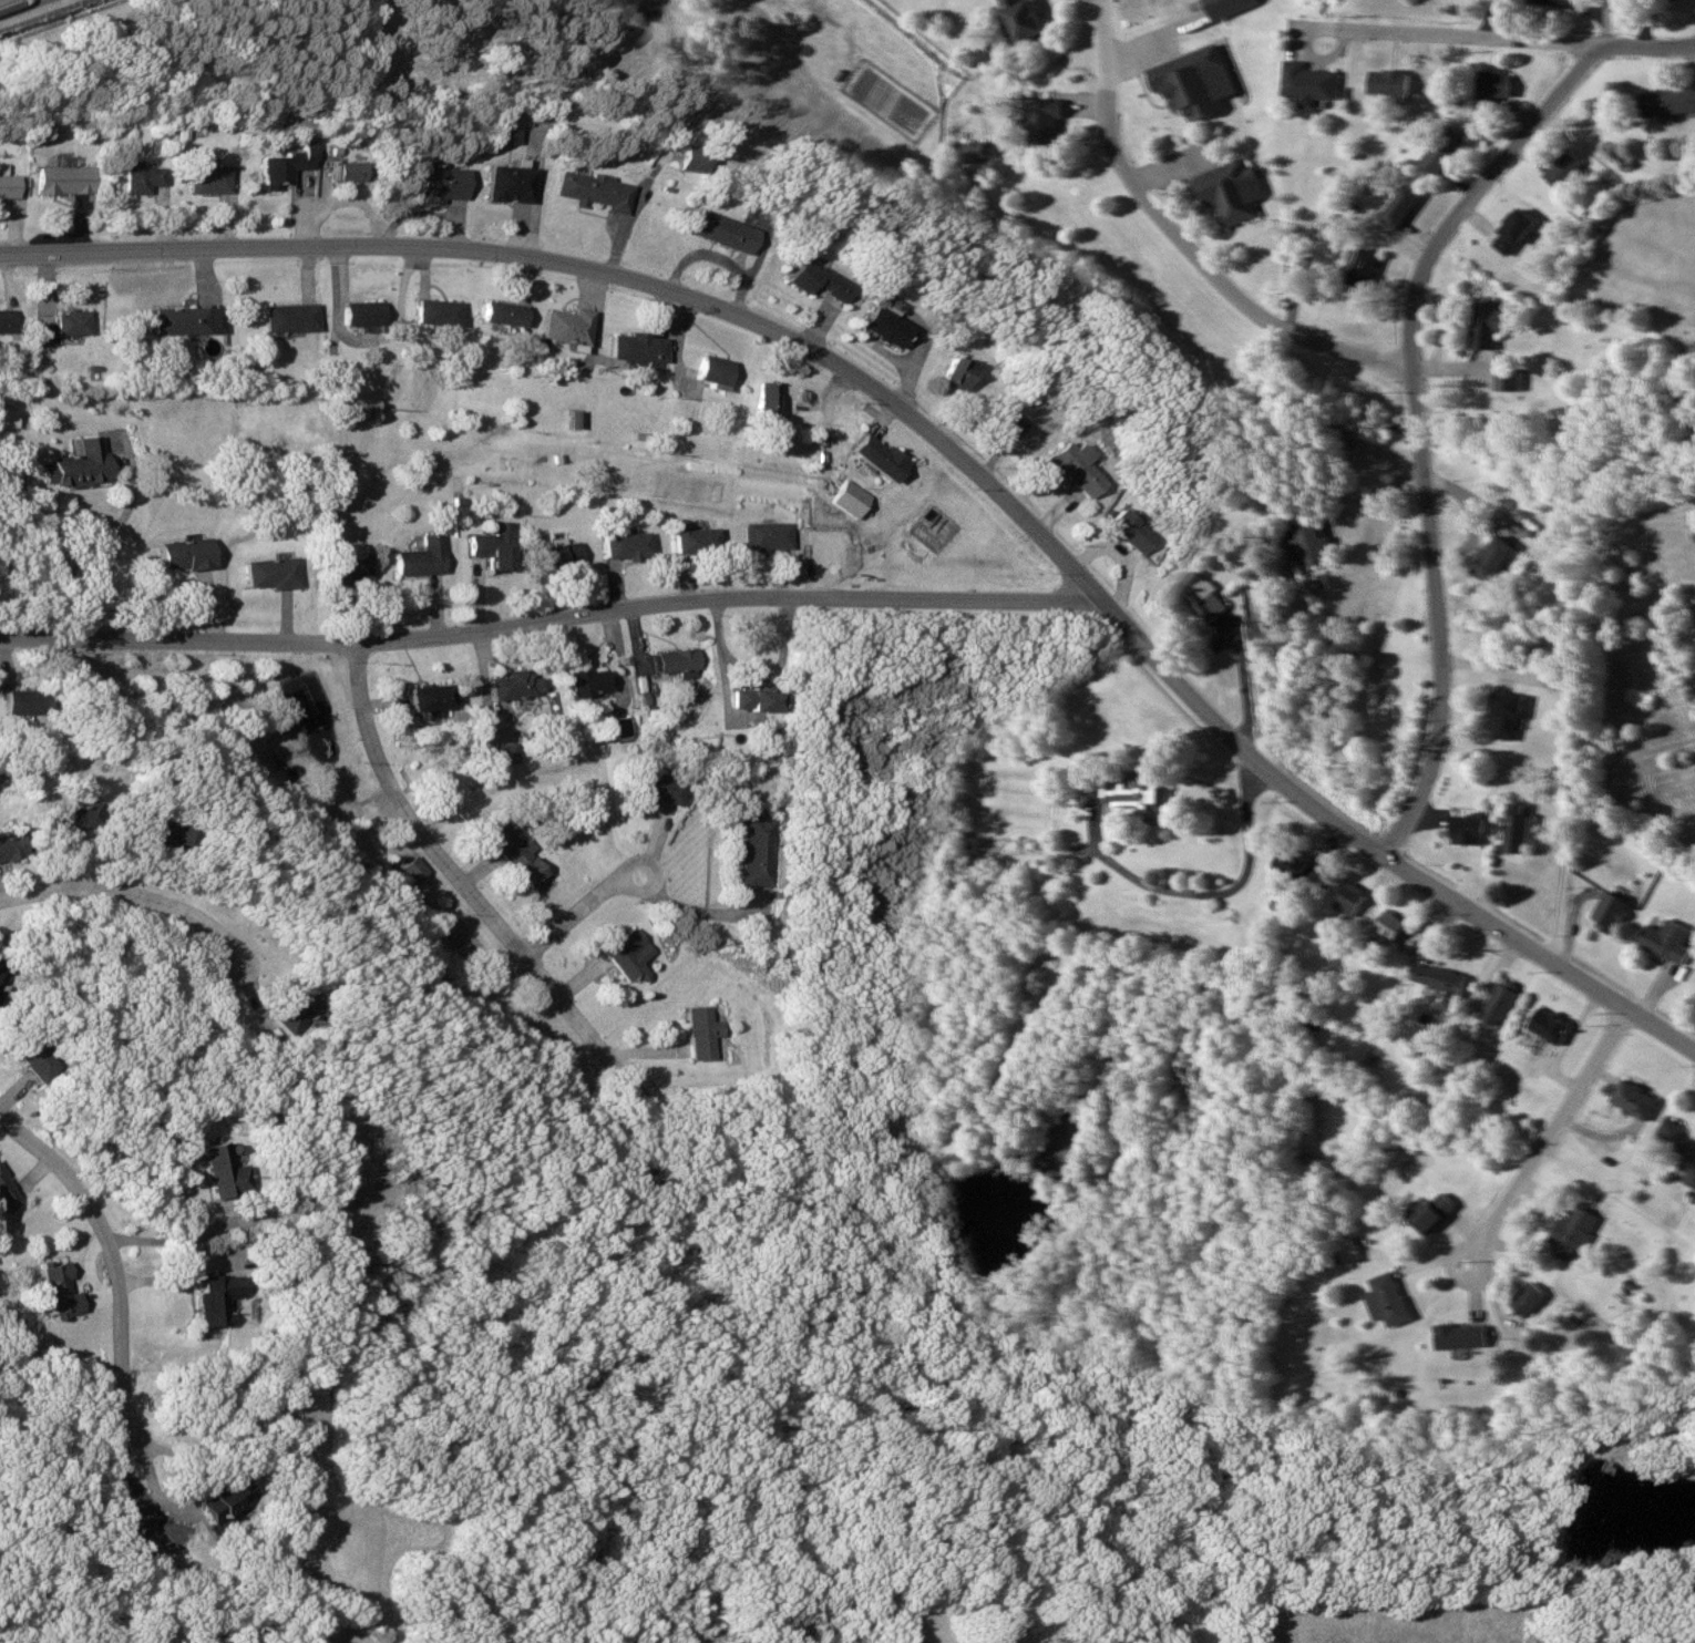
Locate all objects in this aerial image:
road: (9, 3)
building: (1021, 18)
road: (1326, 27)
road: (1523, 41)
building: (1191, 82)
building: (1387, 83)
building: (1306, 84)
building: (1491, 86)
building: (1665, 103)
building: (1041, 119)
building: (500, 126)
building: (974, 150)
building: (1440, 151)
building: (689, 158)
building: (280, 165)
building: (341, 165)
building: (1562, 171)
building: (136, 177)
building: (208, 177)
building: (61, 179)
building: (506, 183)
building: (436, 184)
building: (8, 185)
building: (592, 189)
building: (1229, 192)
building: (1398, 205)
building: (719, 230)
building: (1512, 230)
road: (1180, 240)
building: (1359, 266)
building: (814, 279)
building: (436, 310)
building: (359, 311)
building: (502, 312)
building: (289, 316)
building: (187, 319)
building: (7, 321)
building: (1486, 322)
building: (64, 325)
building: (567, 326)
building: (882, 327)
building: (637, 346)
building: (952, 373)
building: (767, 398)
building: (8, 418)
building: (1000, 421)
road: (1416, 429)
road: (935, 440)
building: (875, 456)
building: (76, 464)
building: (1069, 466)
building: (1123, 531)
building: (770, 535)
building: (696, 538)
building: (1309, 543)
building: (495, 545)
building: (627, 545)
building: (185, 554)
building: (562, 555)
building: (421, 557)
building: (1491, 558)
building: (347, 567)
building: (269, 572)
building: (1201, 595)
road: (549, 623)
building: (677, 660)
building: (587, 680)
building: (515, 684)
building: (429, 697)
building: (752, 699)
building: (25, 701)
building: (1504, 715)
building: (623, 726)
building: (660, 788)
building: (1133, 793)
building: (68, 818)
building: (151, 828)
building: (1516, 828)
building: (1466, 829)
building: (9, 848)
building: (759, 851)
building: (512, 852)
building: (1294, 866)
building: (411, 871)
road: (451, 873)
road: (649, 889)
road: (135, 898)
building: (1348, 898)
building: (1607, 912)
road: (563, 921)
building: (1387, 927)
building: (1667, 941)
building: (626, 955)
building: (2, 976)
building: (1436, 977)
building: (1497, 1002)
building: (294, 1012)
building: (1547, 1025)
building: (700, 1031)
building: (33, 1059)
building: (1632, 1099)
road: (1548, 1134)
building: (1677, 1142)
building: (223, 1172)
building: (9, 1195)
building: (1430, 1212)
building: (1572, 1233)
building: (1348, 1249)
road: (110, 1257)
building: (52, 1290)
building: (214, 1297)
building: (1528, 1298)
building: (1386, 1300)
building: (1460, 1336)
building: (226, 1496)

